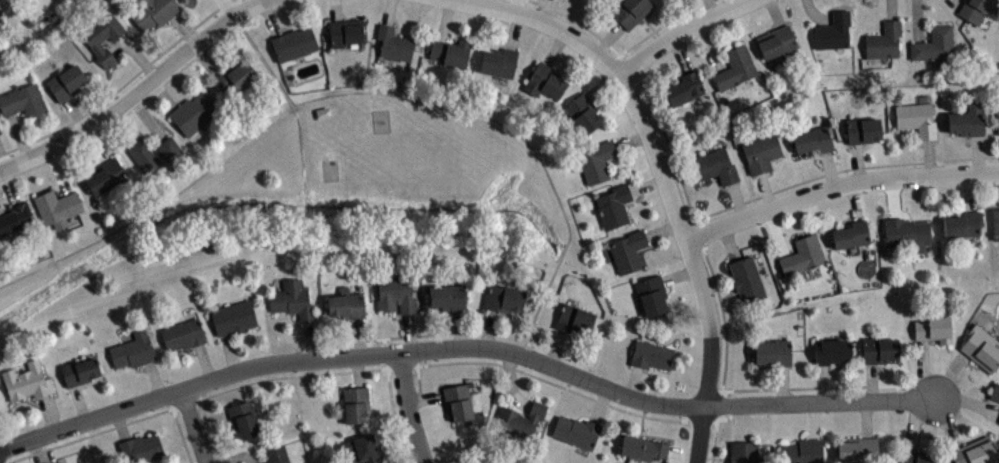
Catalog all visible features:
building: (22, 0)
building: (193, 0)
road: (246, 3)
road: (957, 3)
road: (517, 6)
road: (711, 6)
building: (977, 9)
road: (546, 10)
road: (891, 10)
building: (631, 11)
building: (154, 13)
road: (775, 13)
road: (815, 14)
road: (917, 20)
road: (547, 22)
road: (659, 27)
road: (681, 29)
road: (514, 30)
building: (833, 31)
building: (345, 33)
road: (607, 36)
building: (102, 39)
building: (884, 40)
building: (776, 41)
building: (294, 44)
building: (394, 44)
building: (934, 44)
road: (709, 45)
road: (554, 47)
building: (449, 53)
road: (681, 54)
road: (264, 60)
building: (498, 62)
building: (735, 67)
building: (236, 78)
building: (545, 81)
road: (602, 82)
building: (64, 84)
road: (121, 86)
building: (684, 90)
road: (356, 91)
road: (138, 92)
building: (23, 102)
building: (582, 112)
building: (194, 114)
building: (323, 114)
building: (917, 118)
building: (967, 119)
building: (998, 119)
building: (862, 128)
building: (0, 132)
road: (631, 139)
building: (812, 139)
road: (977, 152)
building: (761, 153)
building: (154, 155)
road: (929, 155)
road: (971, 157)
road: (858, 160)
building: (597, 161)
building: (715, 166)
road: (829, 167)
park: (330, 169)
building: (107, 178)
road: (803, 180)
road: (647, 183)
road: (838, 184)
road: (765, 190)
road: (971, 191)
road: (893, 197)
road: (737, 200)
road: (854, 200)
road: (673, 201)
road: (689, 203)
park: (320, 204)
building: (614, 205)
building: (57, 209)
building: (14, 219)
building: (995, 223)
building: (964, 224)
road: (664, 228)
road: (776, 232)
building: (850, 233)
building: (906, 233)
road: (729, 242)
building: (628, 250)
building: (802, 255)
road: (680, 273)
building: (745, 278)
building: (651, 295)
building: (395, 296)
building: (449, 296)
building: (505, 297)
building: (293, 301)
building: (344, 305)
building: (575, 318)
building: (234, 320)
building: (934, 330)
road: (421, 332)
building: (183, 334)
road: (555, 346)
building: (133, 349)
building: (982, 349)
building: (881, 352)
building: (833, 353)
building: (652, 354)
building: (774, 354)
road: (351, 355)
road: (358, 369)
building: (80, 370)
road: (419, 376)
building: (28, 380)
road: (633, 380)
road: (809, 386)
building: (995, 394)
road: (820, 399)
road: (705, 400)
building: (458, 403)
building: (354, 406)
road: (394, 408)
road: (408, 408)
building: (0, 413)
building: (242, 420)
building: (521, 420)
road: (195, 425)
road: (180, 428)
building: (577, 433)
building: (643, 449)
building: (142, 450)
building: (361, 451)
building: (858, 451)
building: (803, 452)
building: (744, 453)
building: (977, 453)
building: (275, 455)
building: (916, 457)

